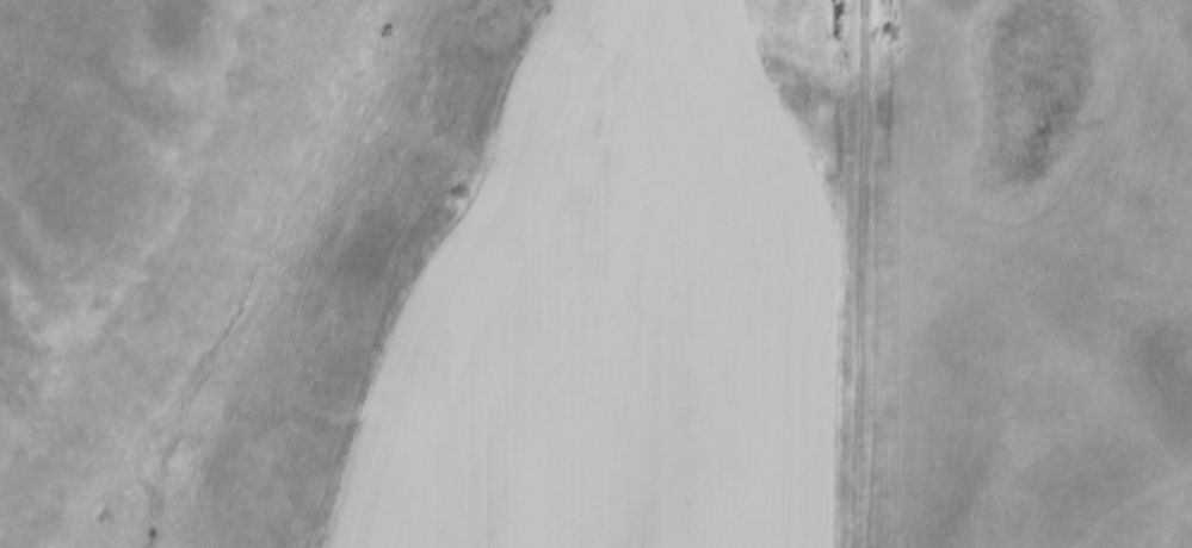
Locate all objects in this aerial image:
road: (860, 273)

